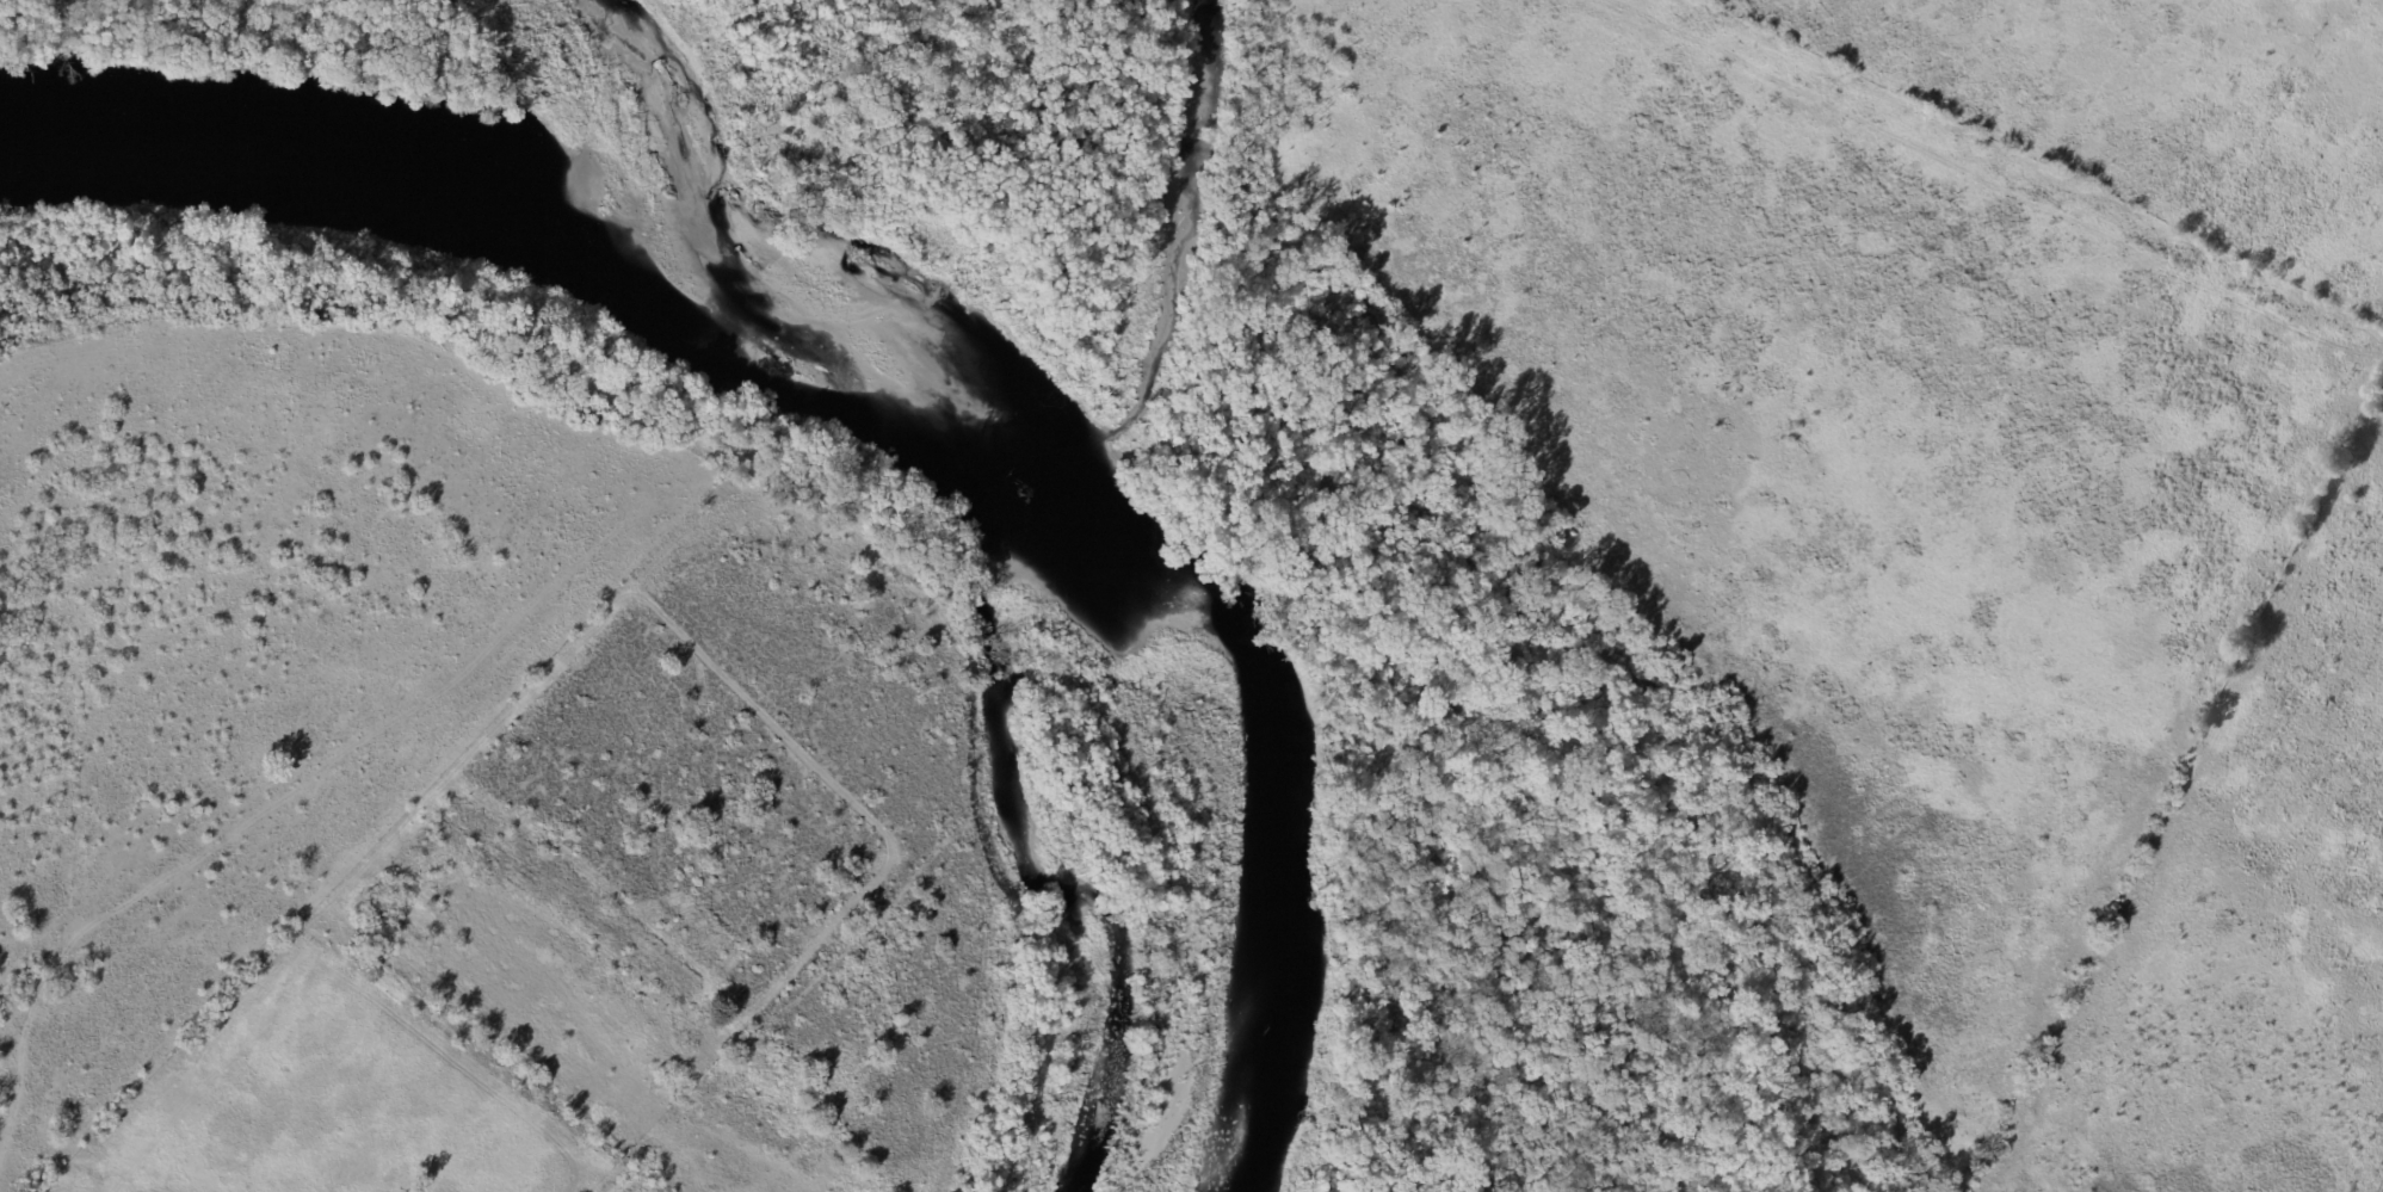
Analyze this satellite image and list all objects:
park: (625, 68)
river: (938, 363)
park: (1749, 566)
quarry: (630, 1185)

